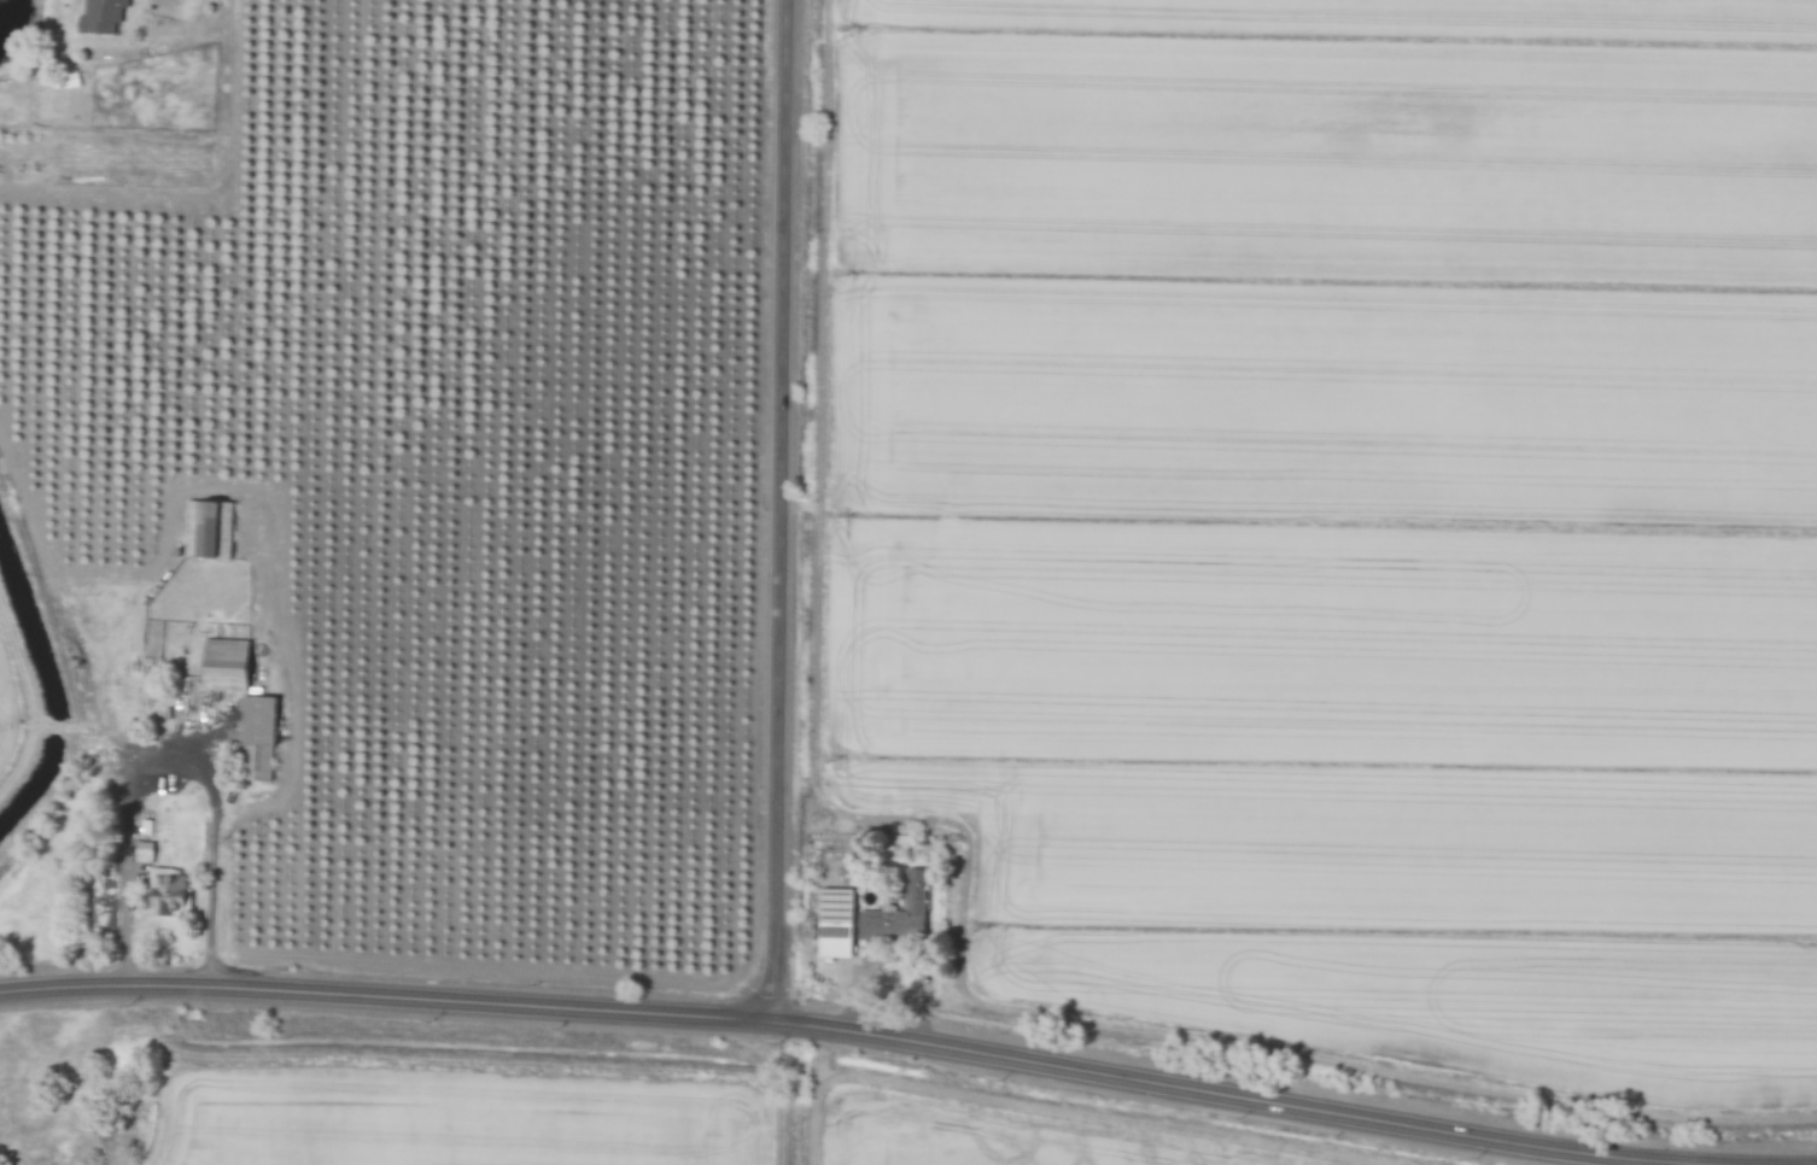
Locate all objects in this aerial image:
building: (104, 16)
building: (72, 81)
road: (787, 513)
building: (212, 529)
building: (229, 666)
building: (263, 733)
road: (173, 755)
building: (171, 894)
building: (901, 913)
building: (840, 923)
road: (894, 966)
road: (798, 1026)
crop: (449, 1101)

